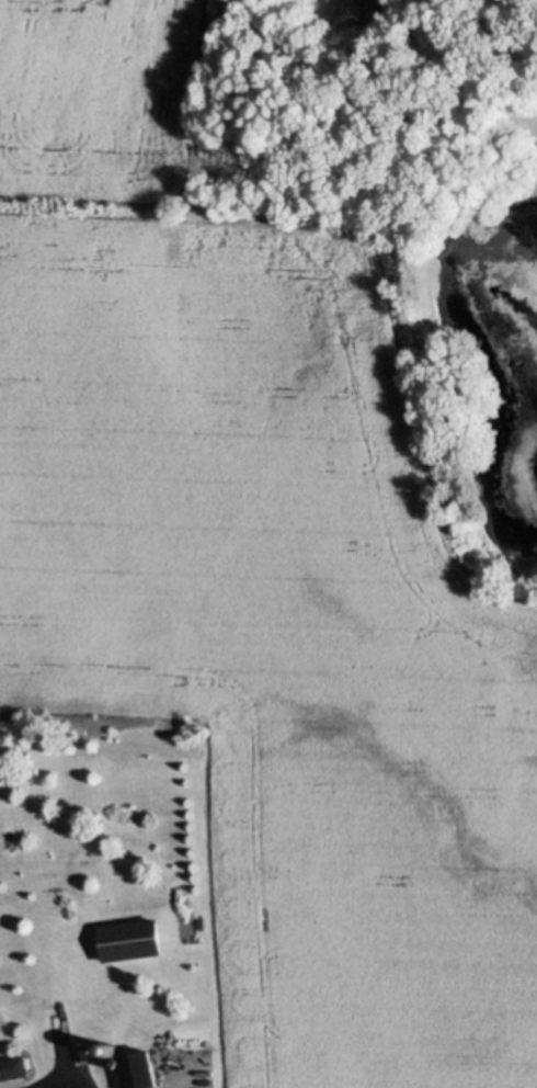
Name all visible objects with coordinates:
building: (132, 943)
building: (113, 1050)
building: (83, 1055)
building: (114, 1062)
building: (13, 1068)
building: (140, 1073)
road: (65, 1085)

